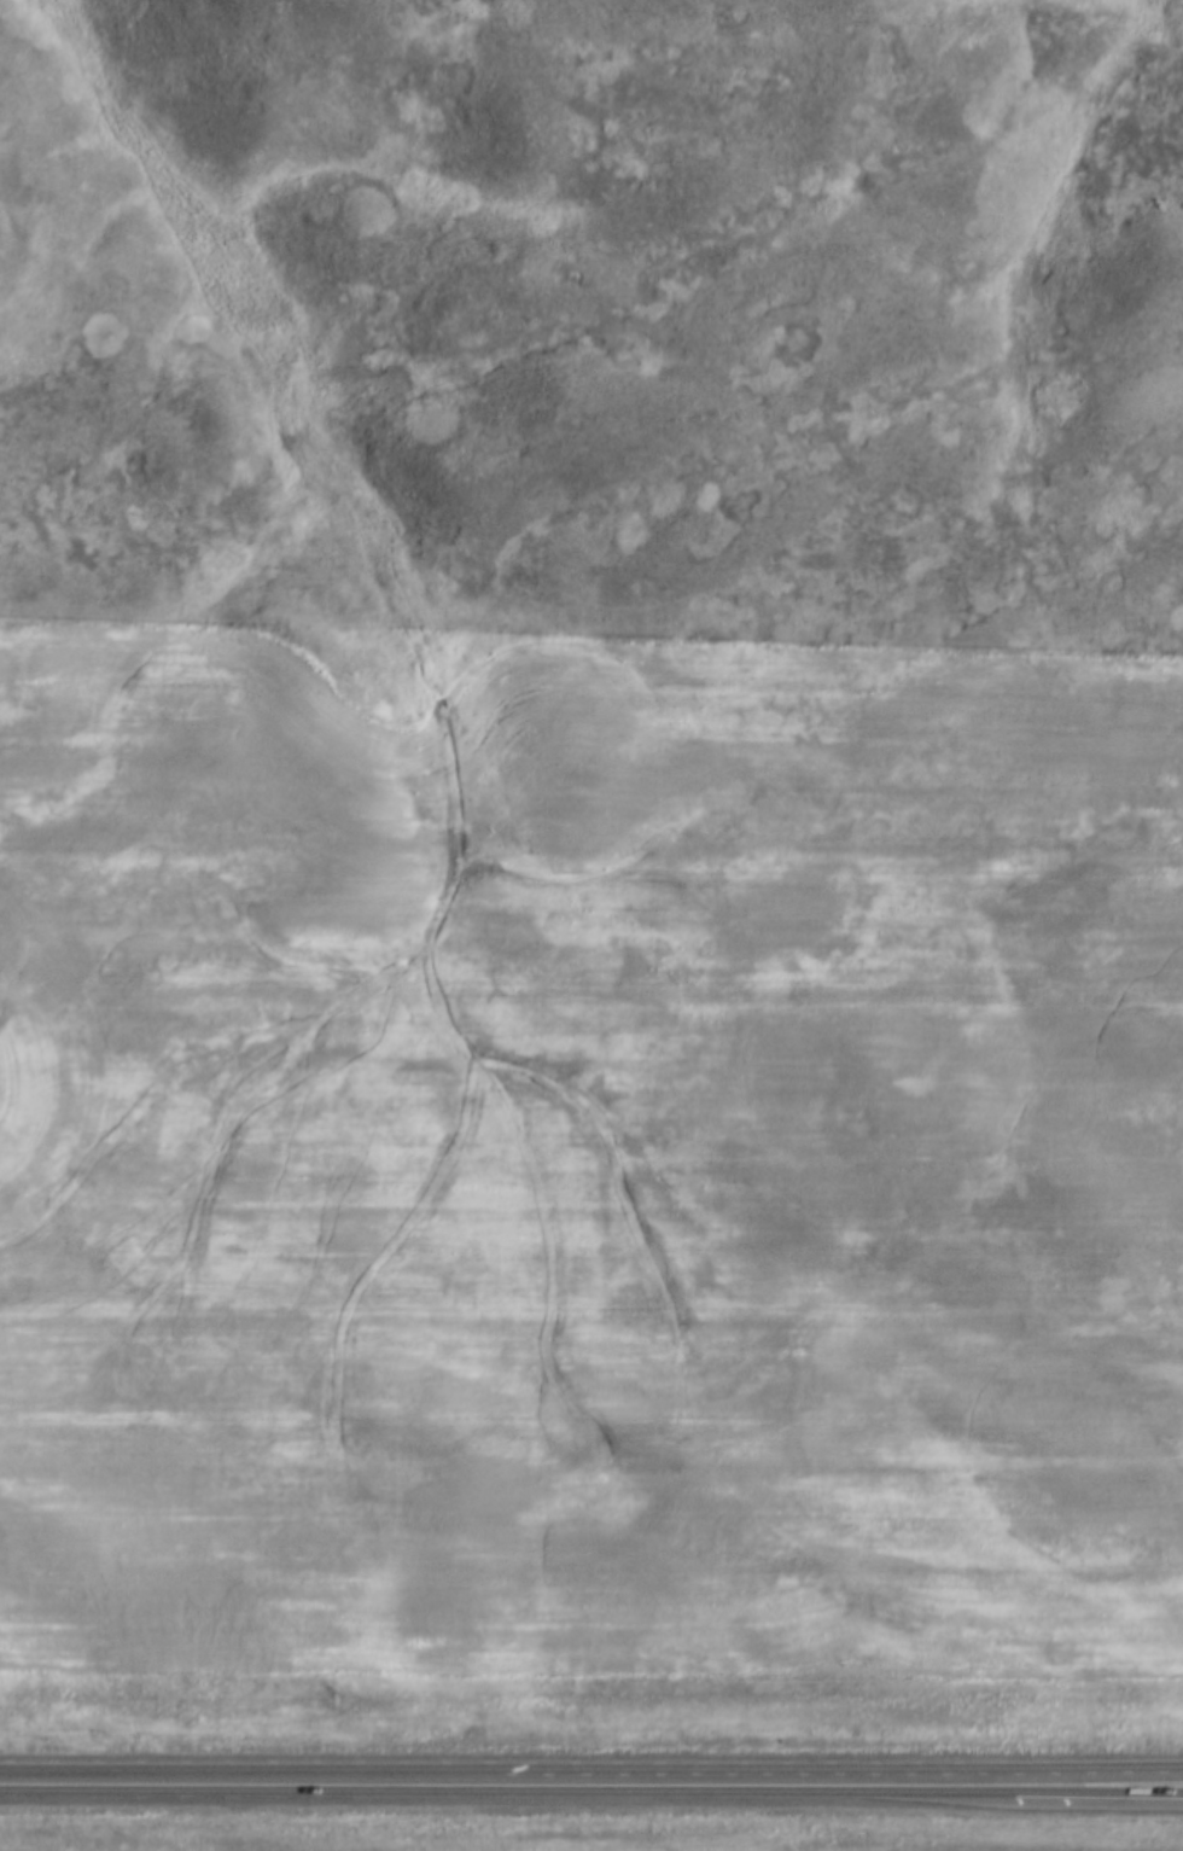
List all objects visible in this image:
road: (758, 1786)
road: (252, 1788)
road: (1097, 1788)

